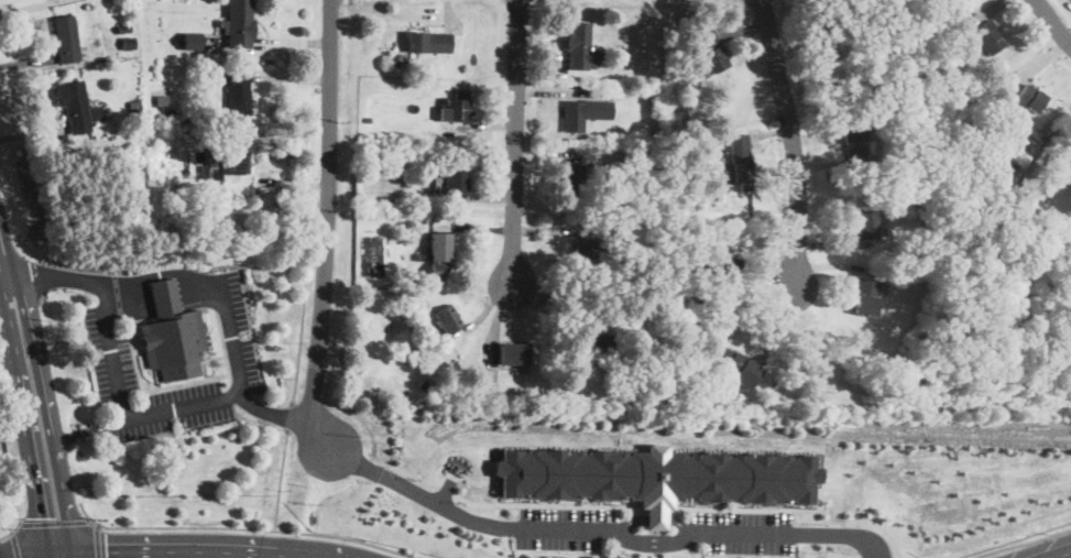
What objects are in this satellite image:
road: (40, 1)
road: (1053, 21)
building: (239, 23)
building: (990, 35)
building: (67, 36)
building: (192, 39)
building: (428, 40)
building: (578, 46)
building: (709, 48)
building: (239, 91)
building: (1029, 98)
building: (77, 106)
building: (456, 107)
building: (579, 112)
road: (793, 140)
building: (957, 141)
road: (516, 142)
building: (854, 142)
building: (1063, 155)
building: (741, 160)
building: (226, 164)
building: (455, 179)
building: (576, 179)
building: (864, 222)
road: (328, 225)
building: (440, 253)
building: (586, 255)
building: (728, 267)
road: (164, 273)
road: (54, 276)
road: (8, 286)
building: (865, 295)
road: (165, 298)
road: (304, 311)
building: (448, 317)
parking lot: (245, 325)
building: (174, 333)
building: (597, 339)
road: (223, 342)
building: (513, 351)
road: (212, 358)
parking lot: (110, 360)
road: (138, 360)
building: (735, 365)
road: (205, 369)
road: (155, 376)
road: (231, 378)
road: (241, 380)
road: (181, 383)
road: (122, 406)
parking lot: (182, 411)
road: (289, 415)
road: (91, 428)
road: (53, 433)
road: (25, 437)
building: (658, 475)
road: (281, 479)
road: (420, 493)
traffic signals: (41, 517)
road: (87, 517)
road: (657, 517)
road: (857, 519)
road: (54, 521)
road: (97, 525)
road: (244, 527)
road: (11, 529)
road: (570, 529)
road: (744, 530)
road: (12, 532)
road: (840, 533)
road: (657, 540)
road: (97, 541)
road: (1016, 544)
road: (15, 545)
traffic signals: (107, 550)
road: (195, 550)
road: (37, 551)
road: (1048, 551)
road: (75, 554)
road: (46, 555)

